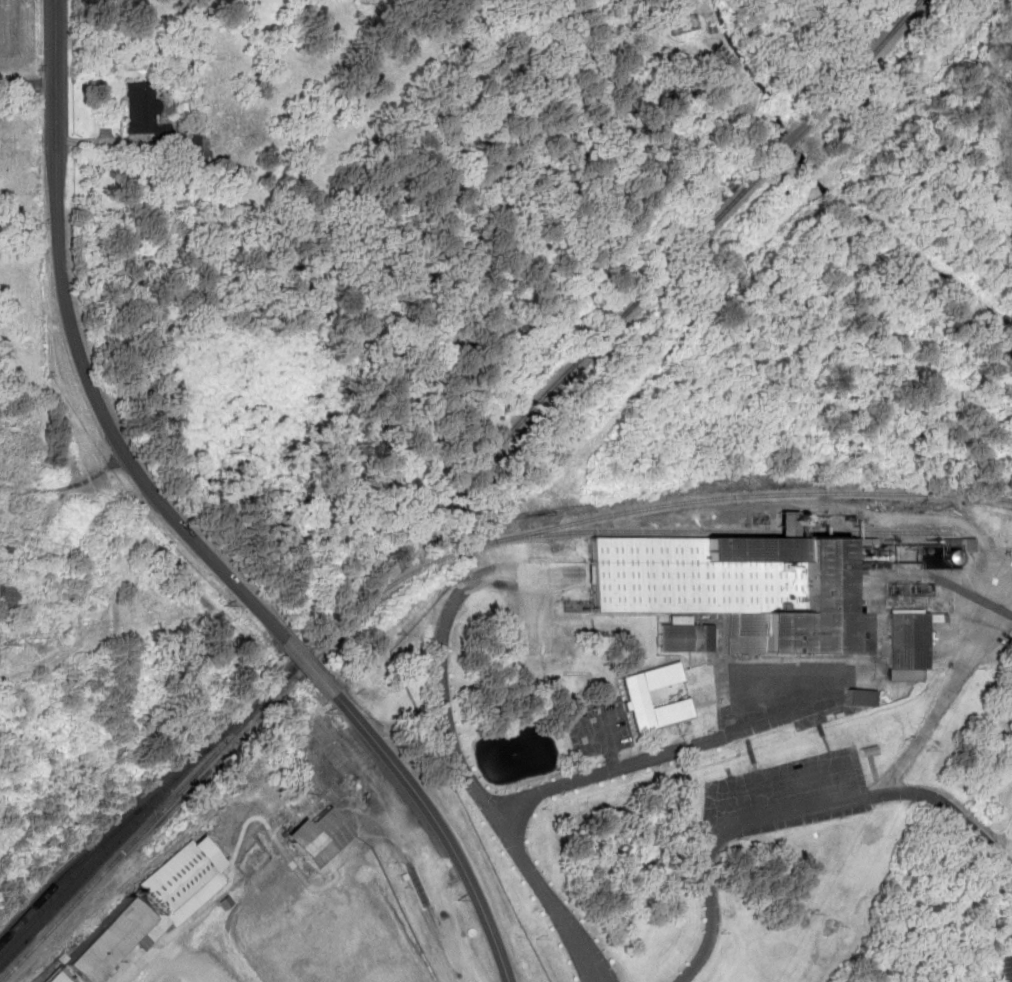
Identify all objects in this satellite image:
road: (26, 82)
building: (144, 106)
building: (307, 142)
road: (74, 351)
building: (14, 452)
railway: (455, 494)
building: (752, 588)
building: (10, 598)
building: (687, 635)
building: (914, 643)
road: (309, 665)
building: (639, 693)
building: (868, 697)
building: (875, 751)
railway: (125, 815)
road: (440, 827)
building: (305, 828)
building: (154, 908)
road: (169, 966)
building: (61, 978)

